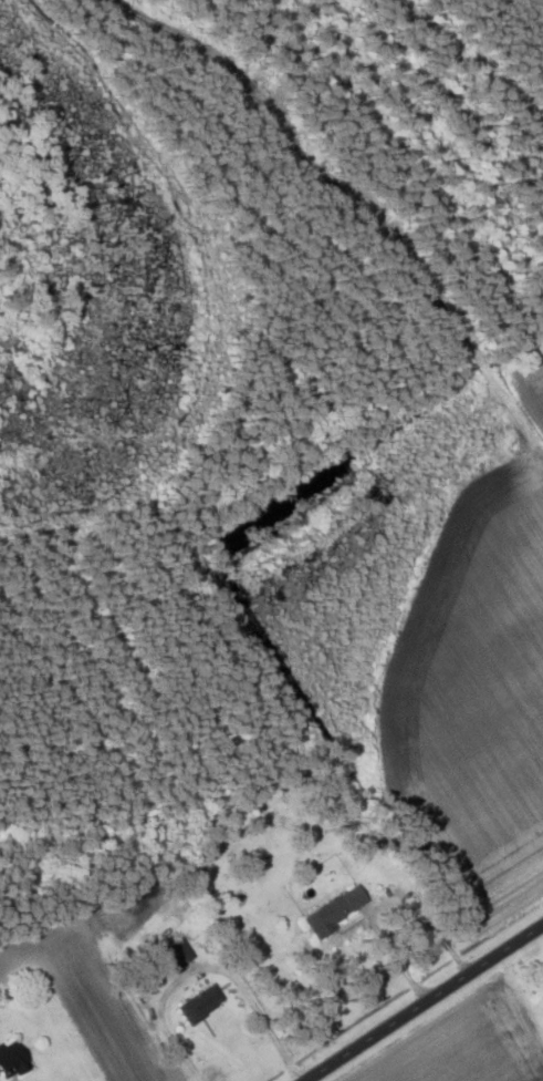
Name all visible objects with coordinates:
building: (335, 912)
road: (424, 1002)
building: (201, 1003)
building: (12, 1060)

